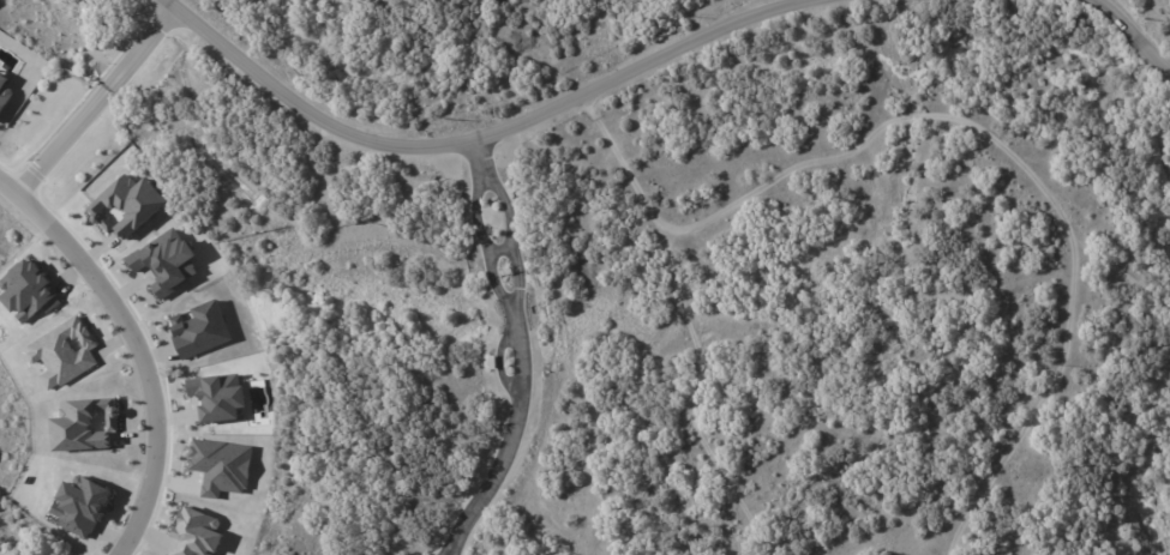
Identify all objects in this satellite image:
road: (1127, 28)
building: (4, 91)
road: (97, 101)
road: (510, 116)
building: (125, 205)
building: (164, 261)
building: (26, 291)
building: (198, 330)
road: (518, 348)
road: (127, 352)
building: (217, 397)
building: (83, 423)
building: (220, 466)
building: (79, 505)
building: (194, 533)

